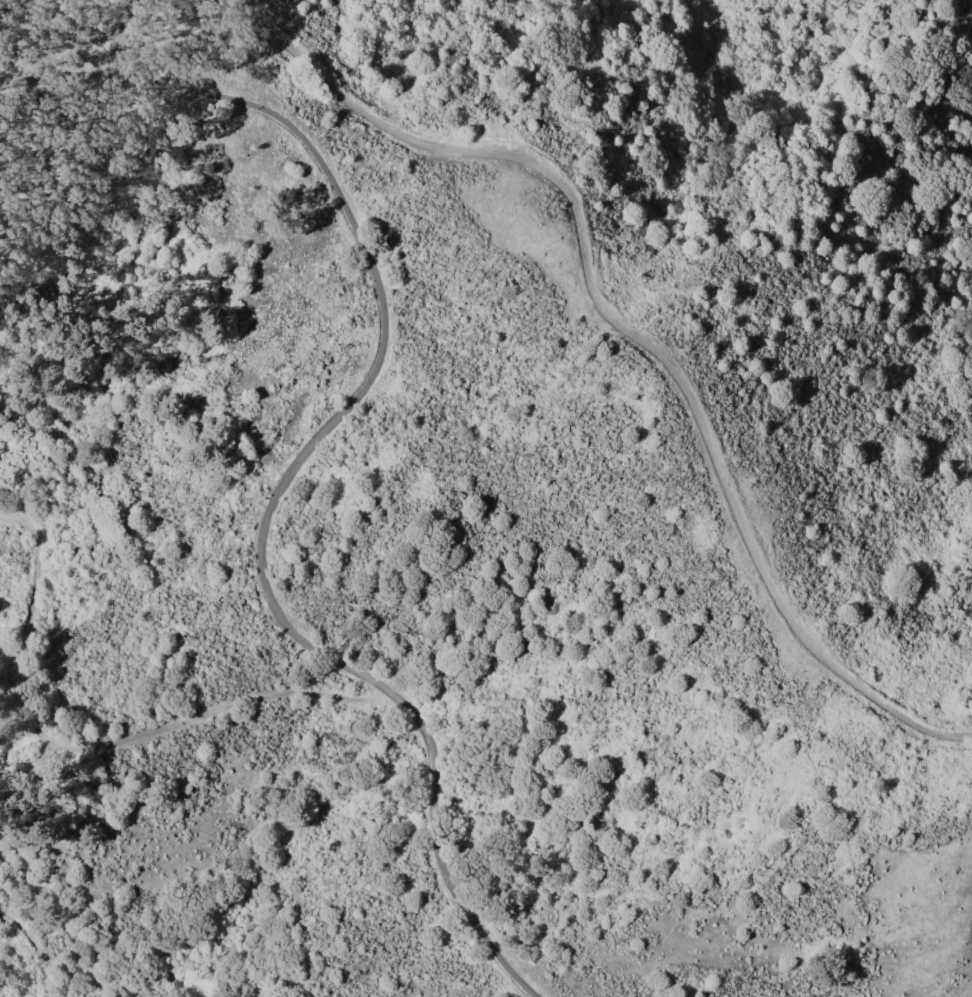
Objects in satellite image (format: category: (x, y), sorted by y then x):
road: (650, 349)
road: (310, 445)
road: (11, 646)
road: (92, 744)
road: (81, 977)

